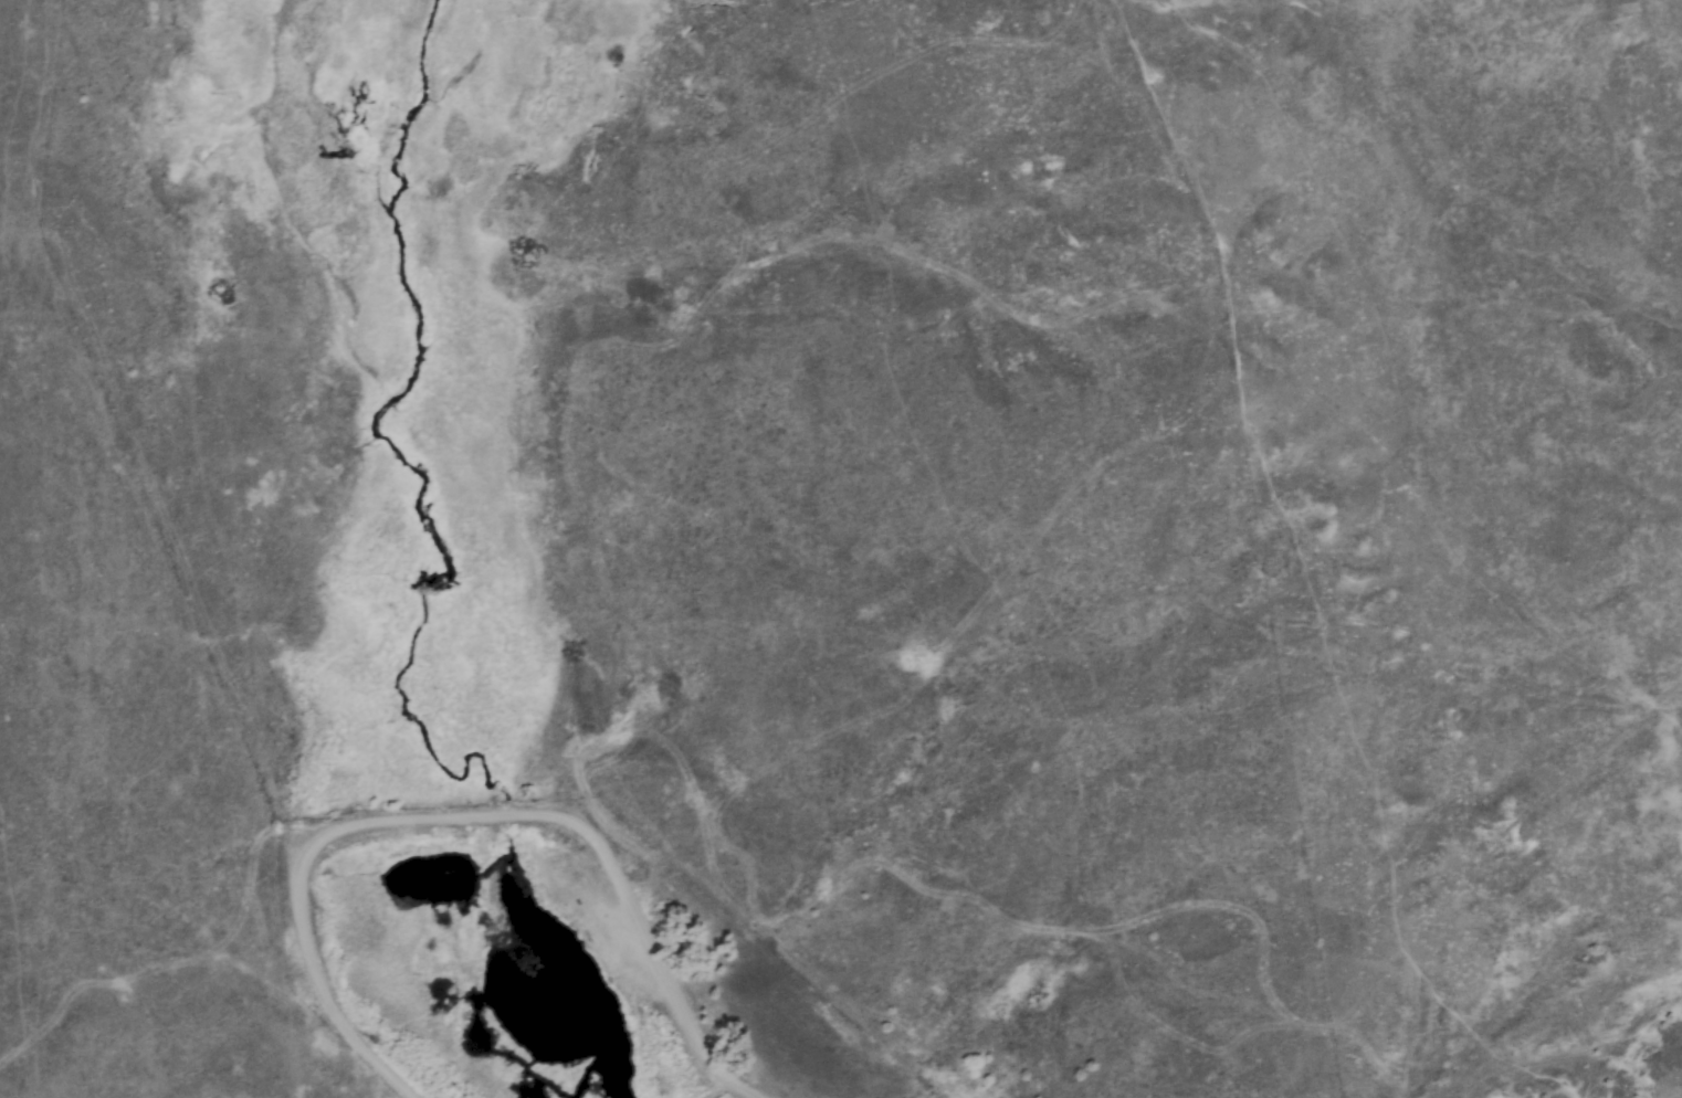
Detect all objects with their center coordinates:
road: (473, 814)
park: (546, 959)

